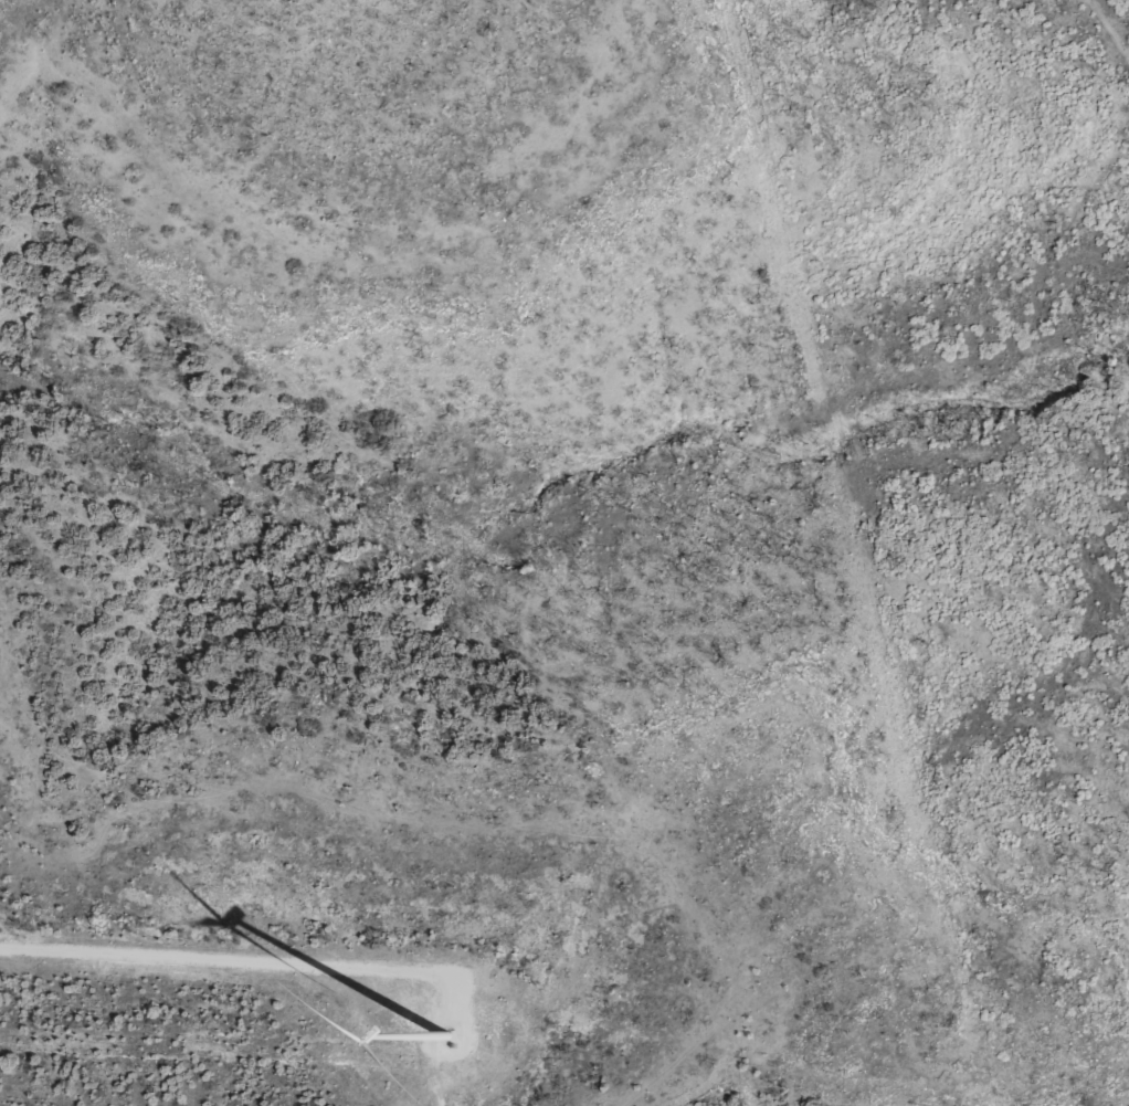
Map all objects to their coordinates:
wind turbine: (449, 1053)

